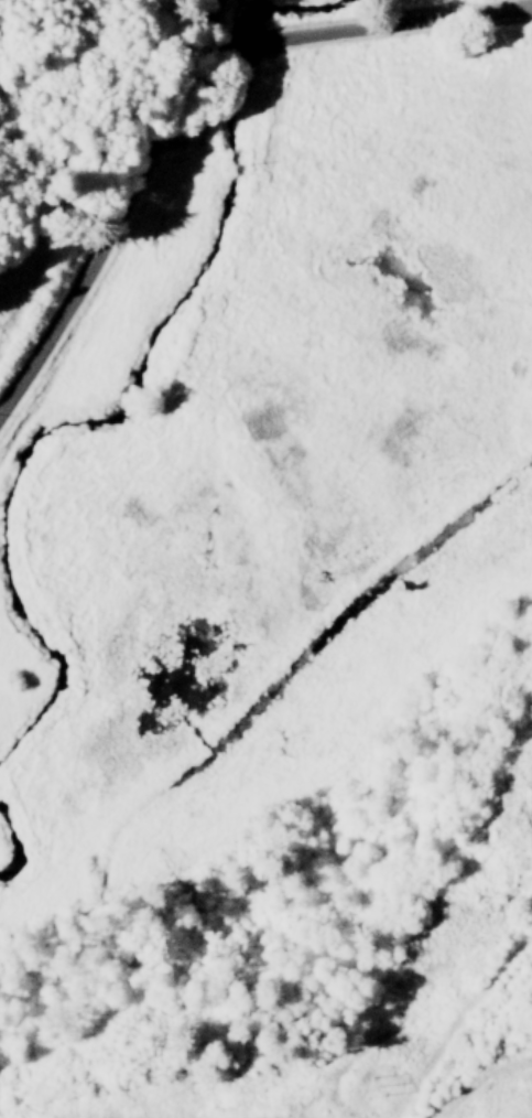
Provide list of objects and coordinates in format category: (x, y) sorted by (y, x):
road: (211, 24)
road: (187, 80)
power tower: (529, 778)
power tower: (369, 1079)

